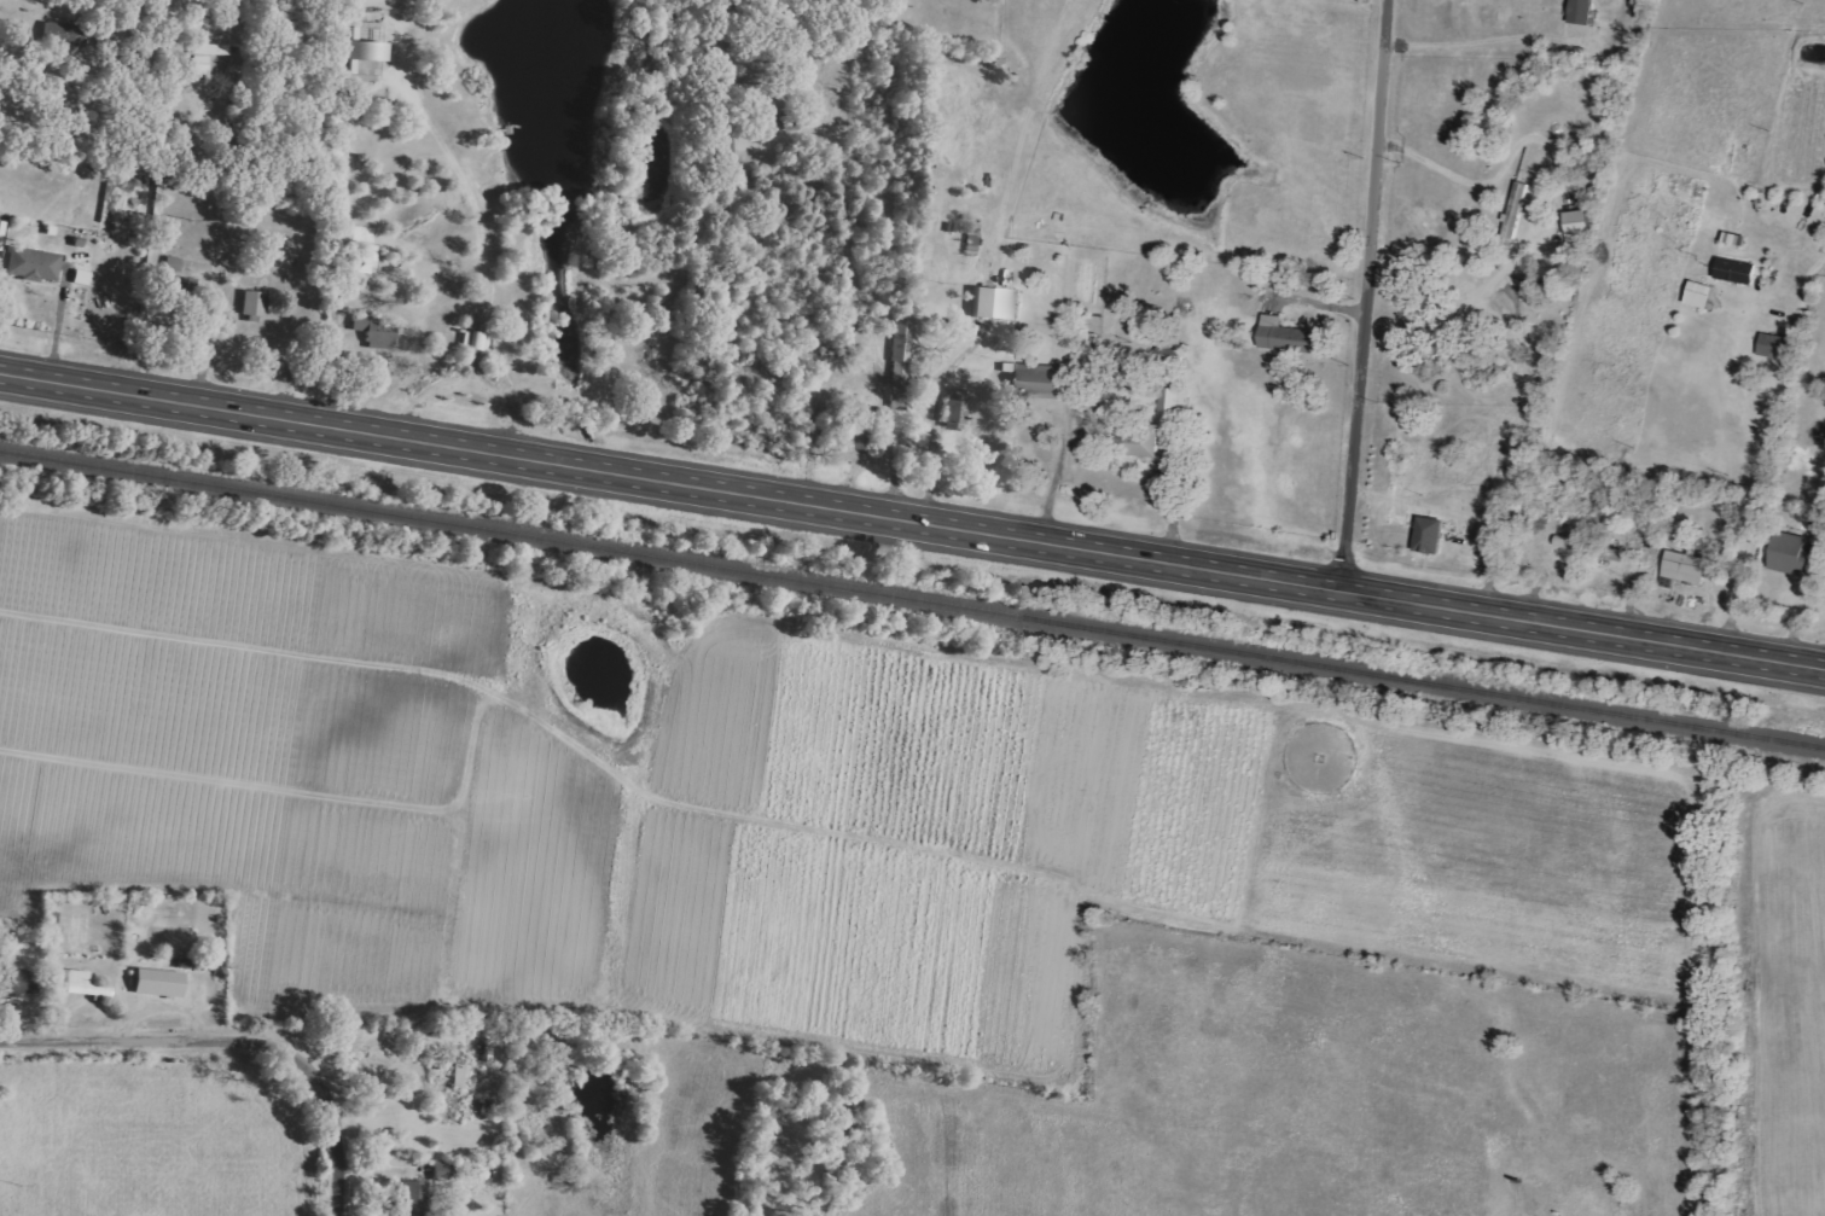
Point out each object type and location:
building: (1583, 11)
building: (65, 34)
building: (208, 56)
building: (368, 58)
building: (756, 89)
building: (732, 153)
building: (934, 204)
building: (1517, 209)
building: (1580, 225)
building: (367, 261)
building: (35, 264)
building: (1738, 272)
road: (1367, 295)
building: (1702, 295)
building: (256, 303)
building: (999, 303)
road: (865, 304)
building: (378, 332)
building: (1290, 337)
building: (1772, 345)
building: (902, 363)
building: (1038, 380)
building: (1172, 401)
building: (958, 409)
road: (936, 417)
building: (1139, 437)
road: (1769, 459)
road: (1058, 467)
road: (912, 519)
building: (1431, 535)
building: (1603, 551)
building: (1796, 554)
building: (1687, 568)
railway: (912, 599)
building: (54, 919)
building: (21, 982)
building: (161, 983)
building: (80, 984)
road: (238, 1034)
building: (464, 1075)
building: (446, 1168)
building: (417, 1199)

